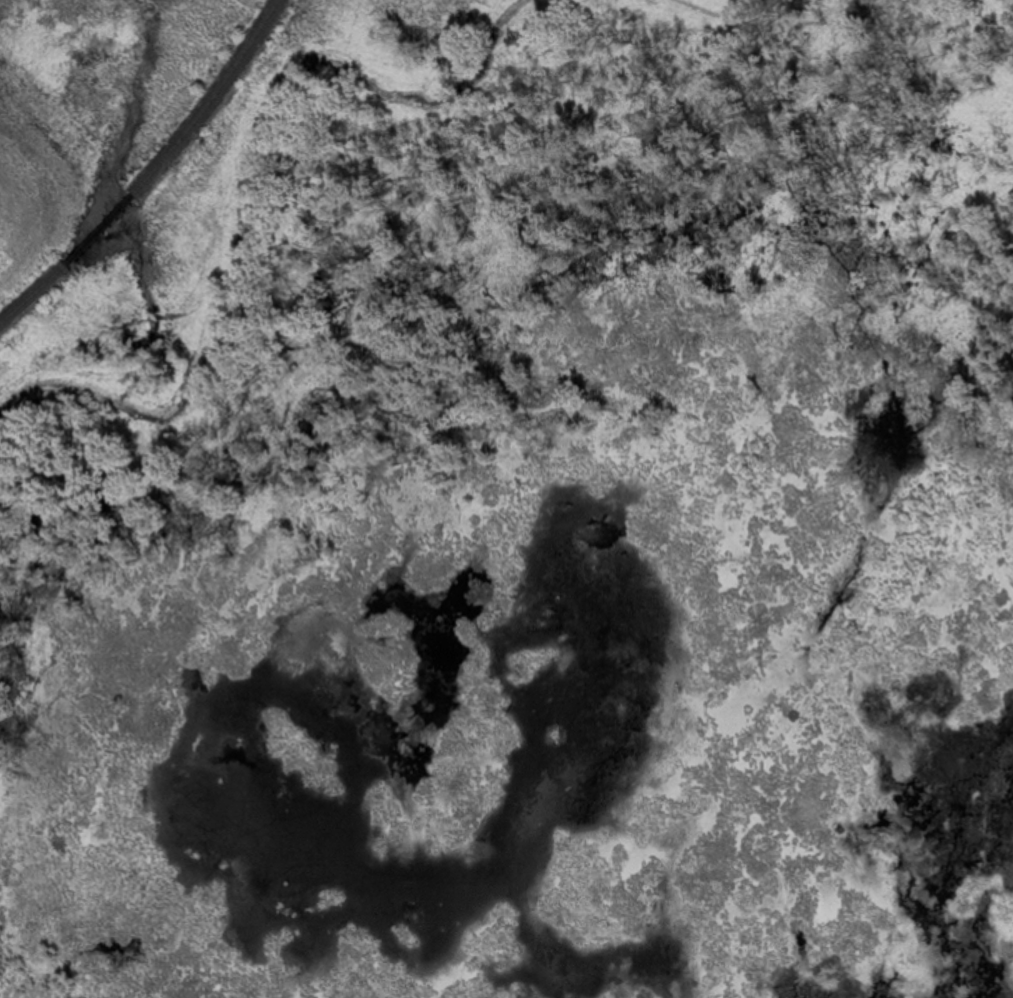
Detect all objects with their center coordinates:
railway: (209, 98)
river: (253, 189)
railway: (99, 228)
railway: (31, 291)

